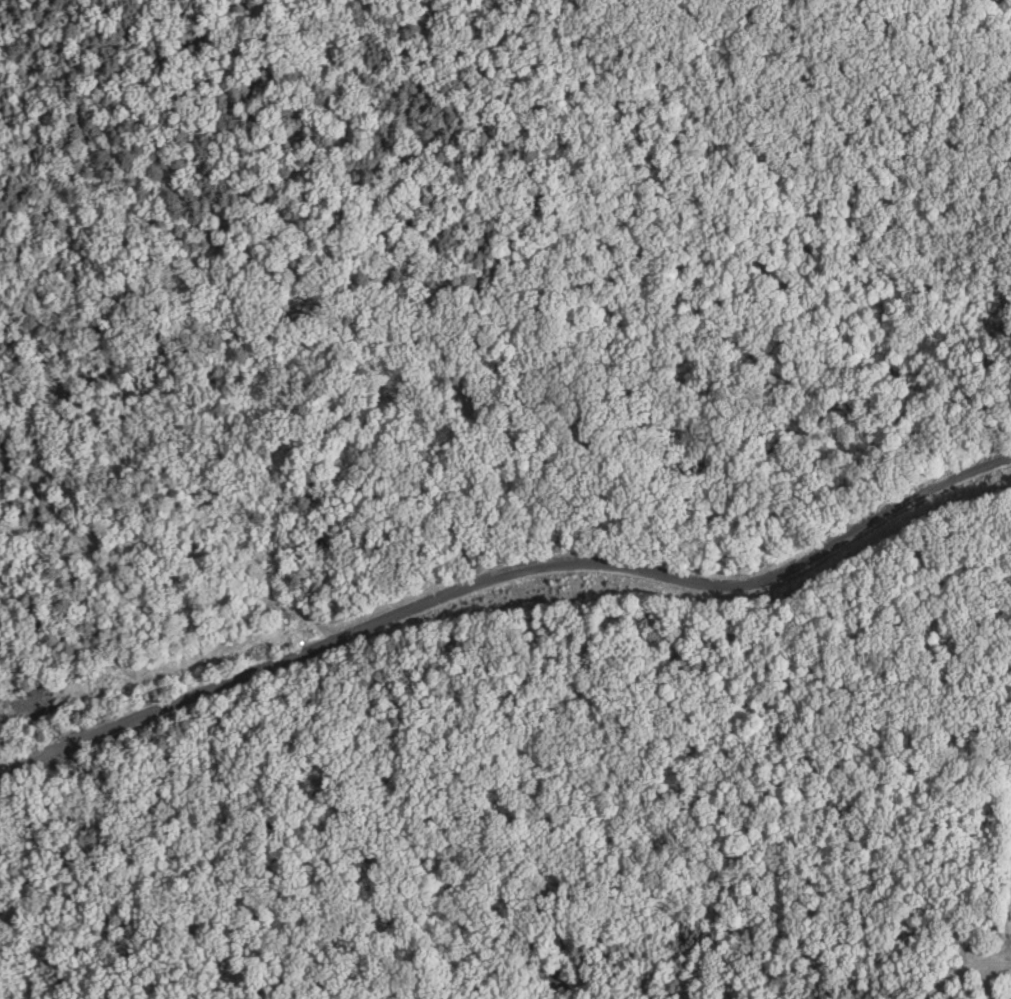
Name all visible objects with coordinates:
road: (524, 567)
road: (21, 758)
road: (964, 972)

